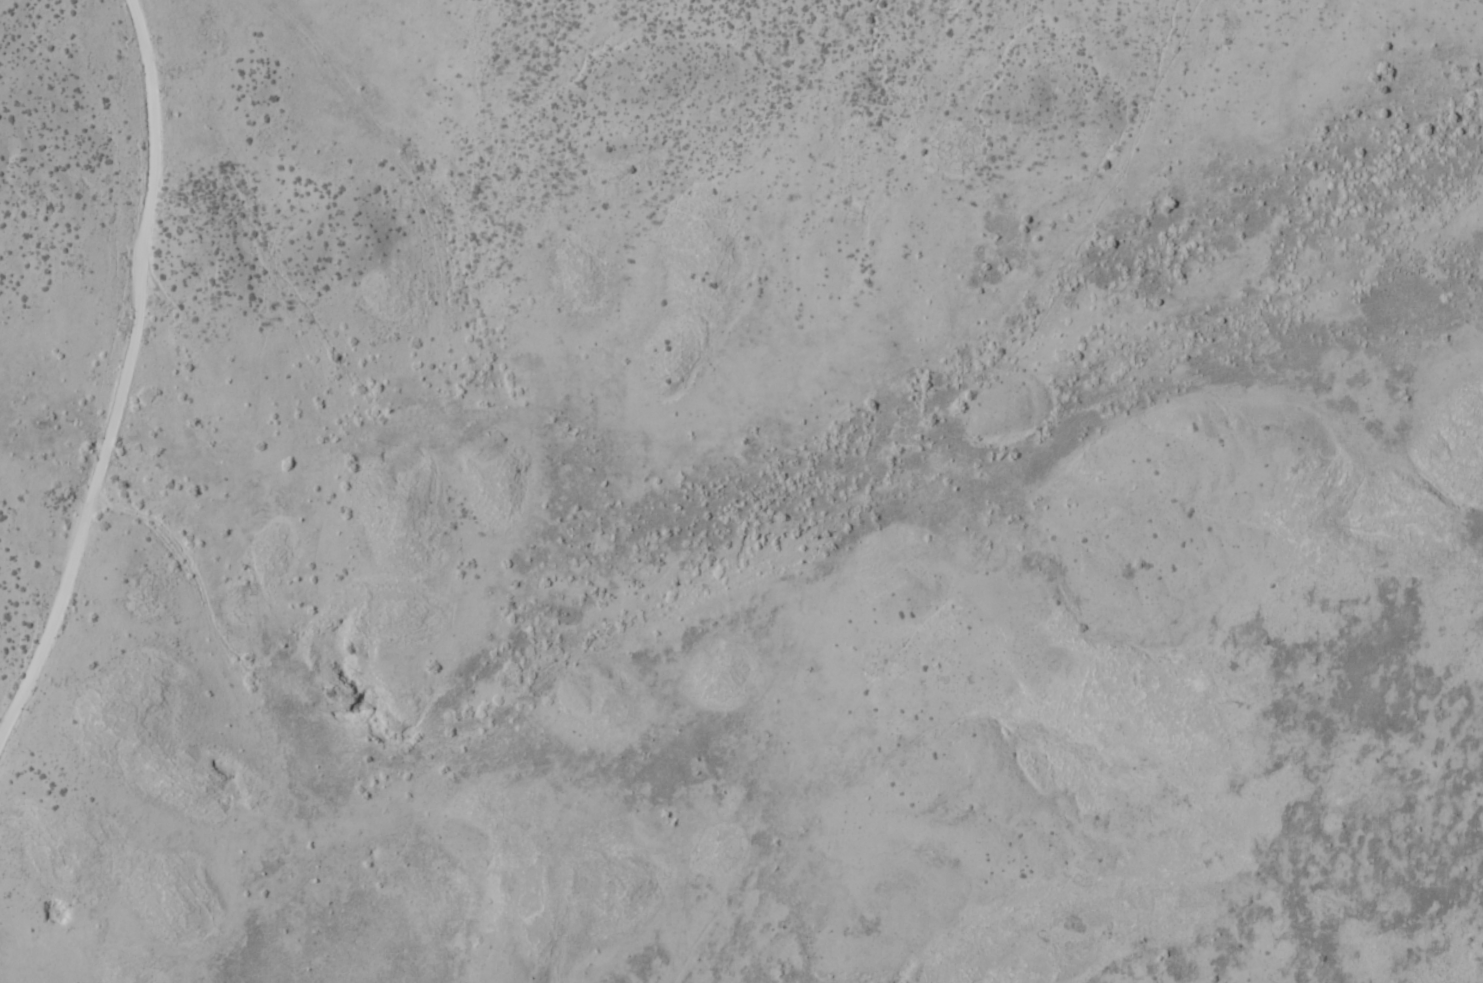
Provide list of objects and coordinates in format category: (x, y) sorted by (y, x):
road: (126, 378)

